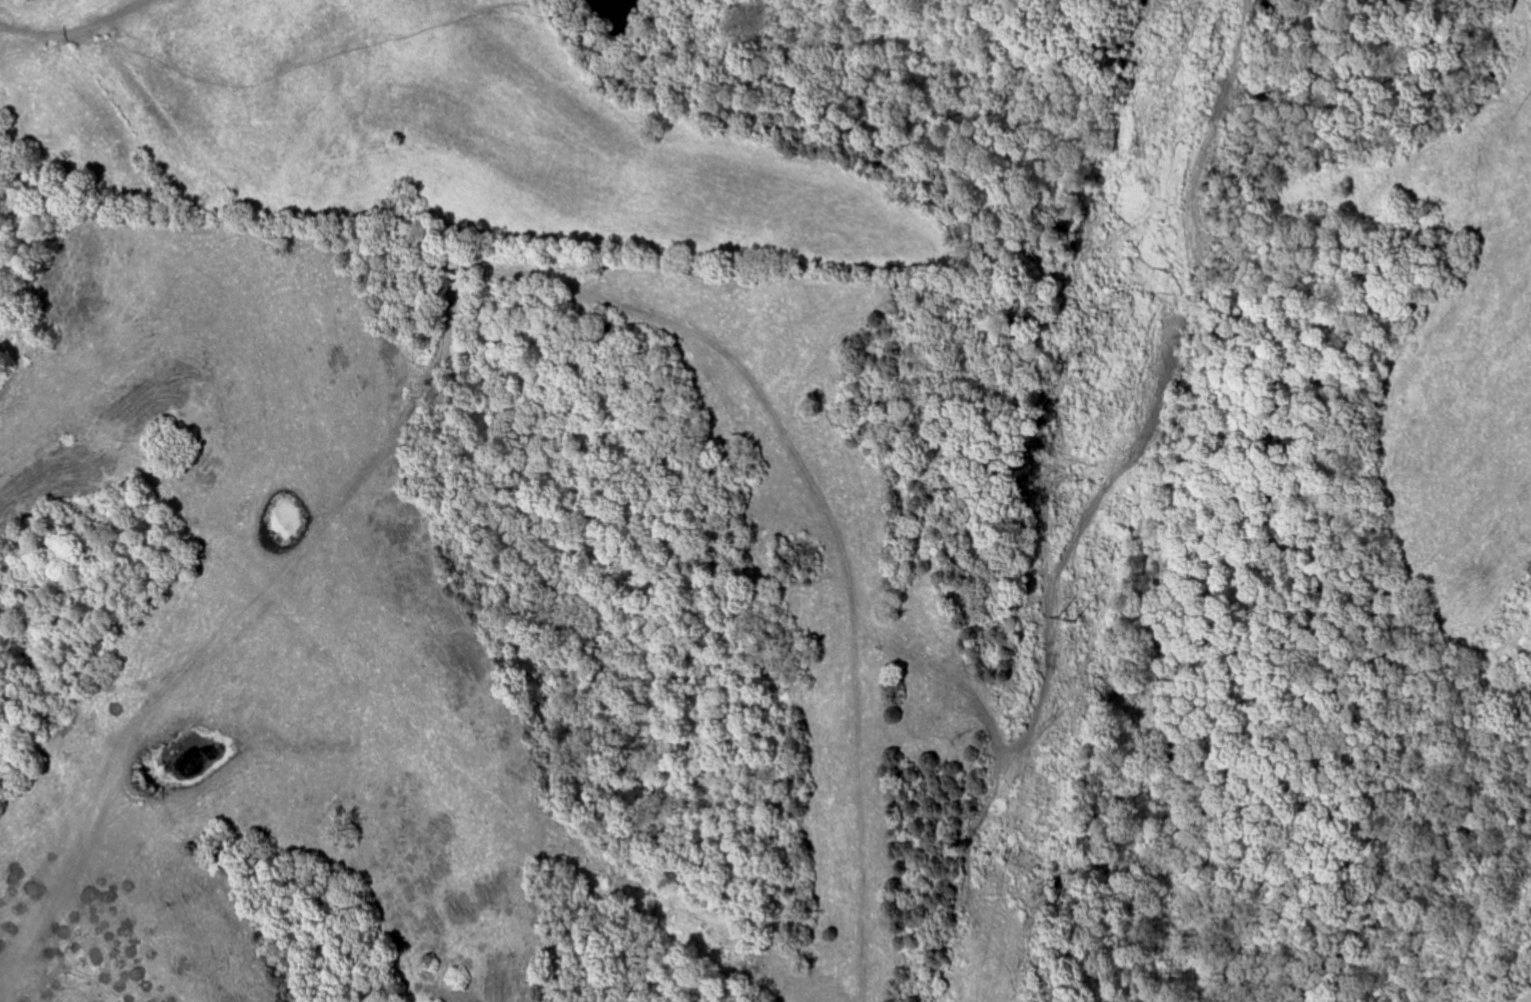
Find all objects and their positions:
road: (73, 27)
power tower: (1066, 616)

